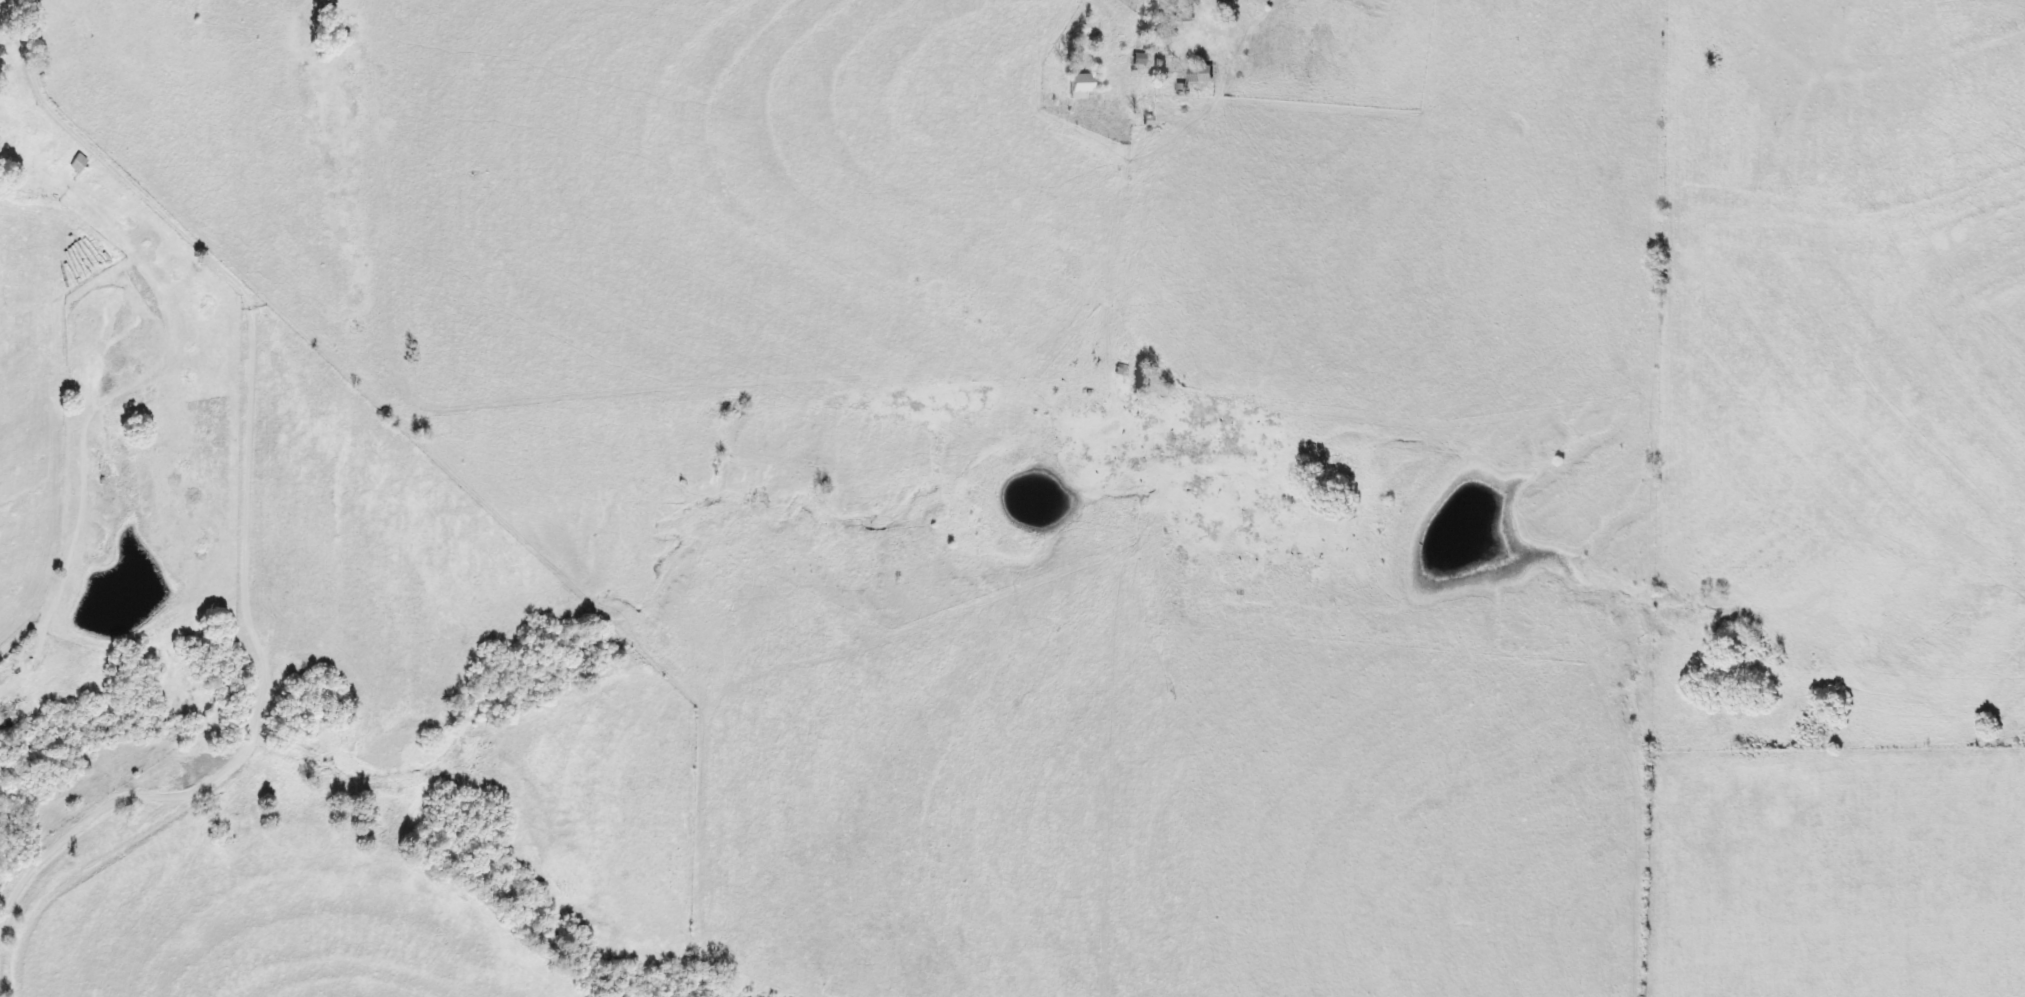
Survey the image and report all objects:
building: (1205, 73)
building: (1081, 85)
building: (78, 163)

